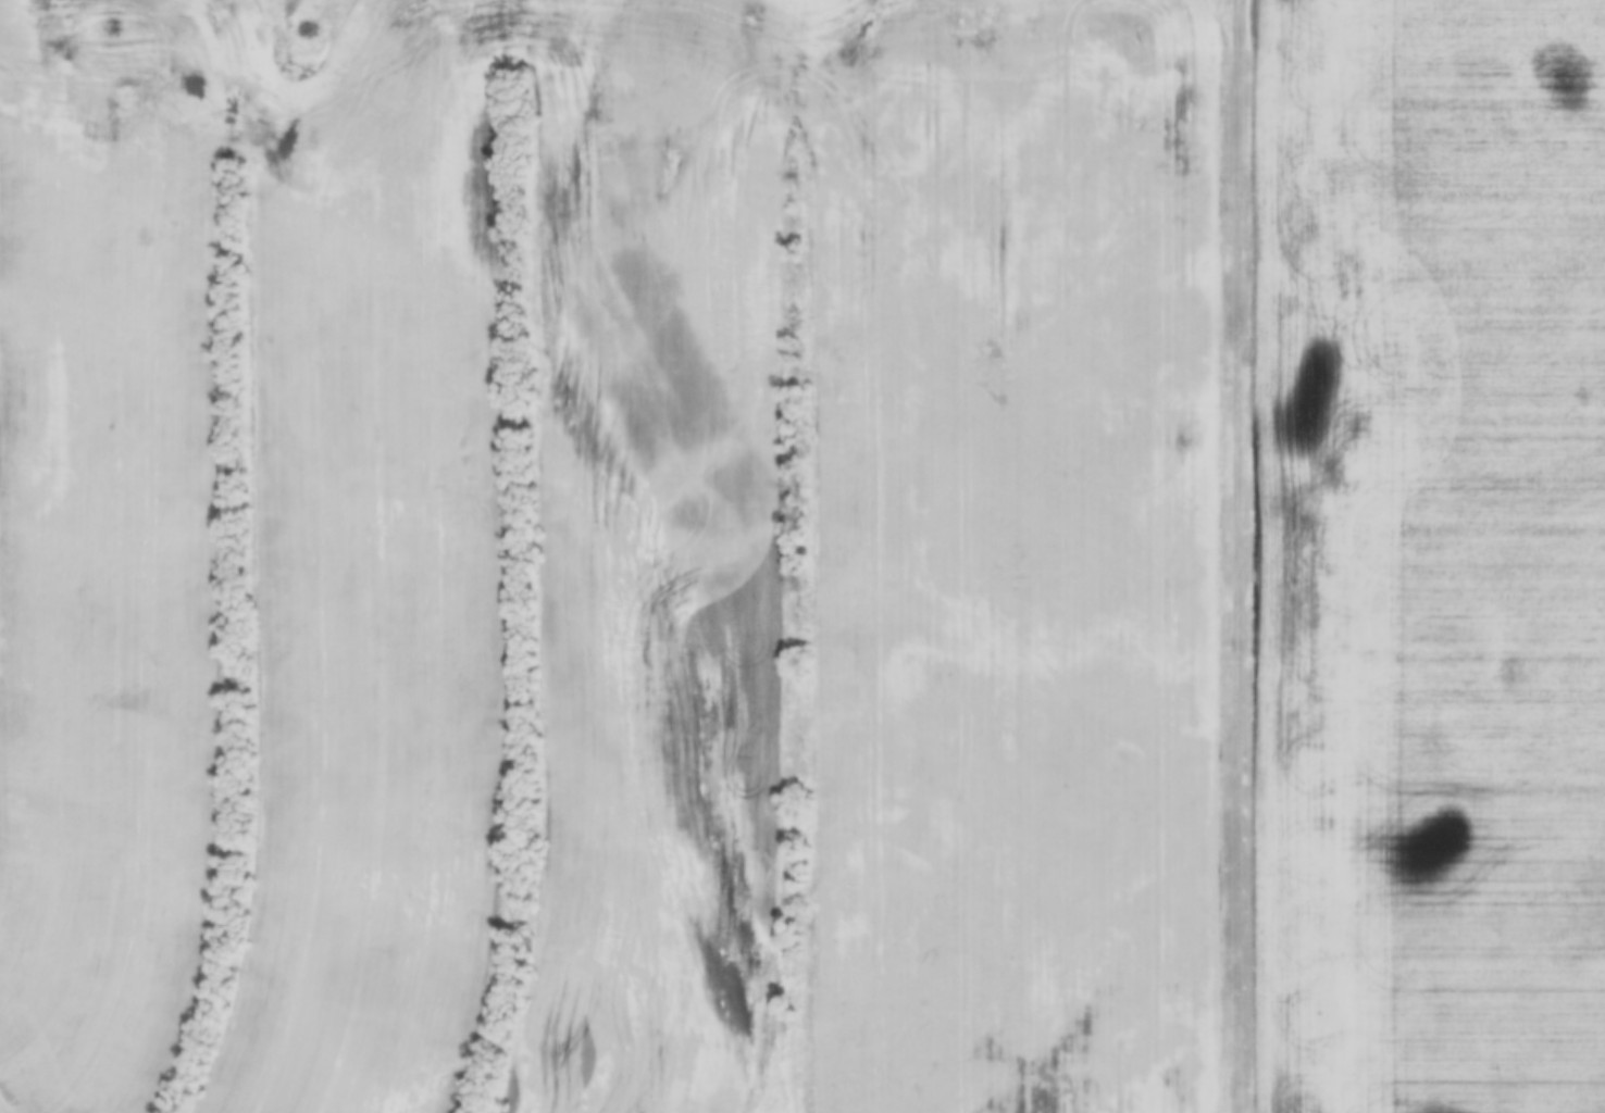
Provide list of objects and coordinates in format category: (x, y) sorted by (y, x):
road: (1239, 555)

